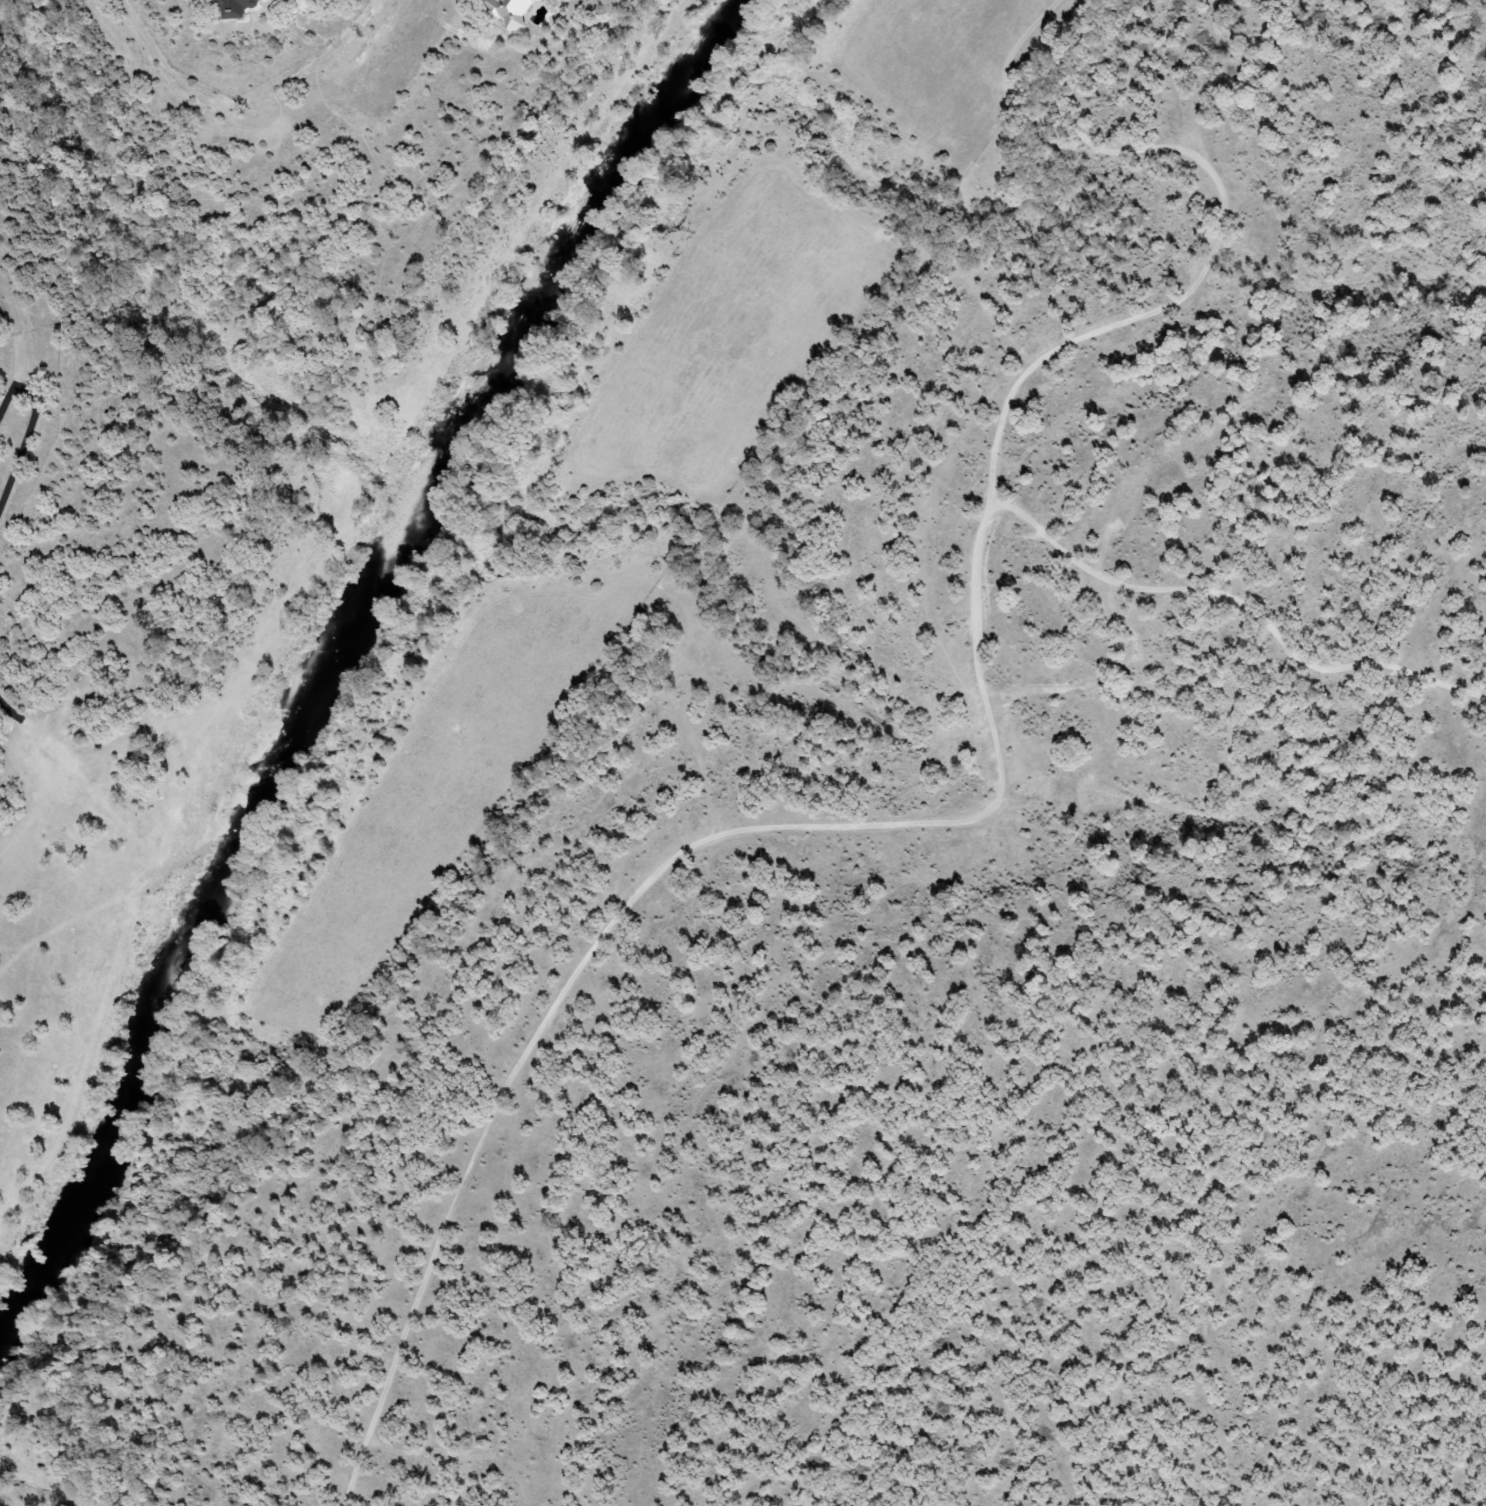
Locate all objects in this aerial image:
building: (235, 8)
building: (510, 11)
river: (342, 640)

